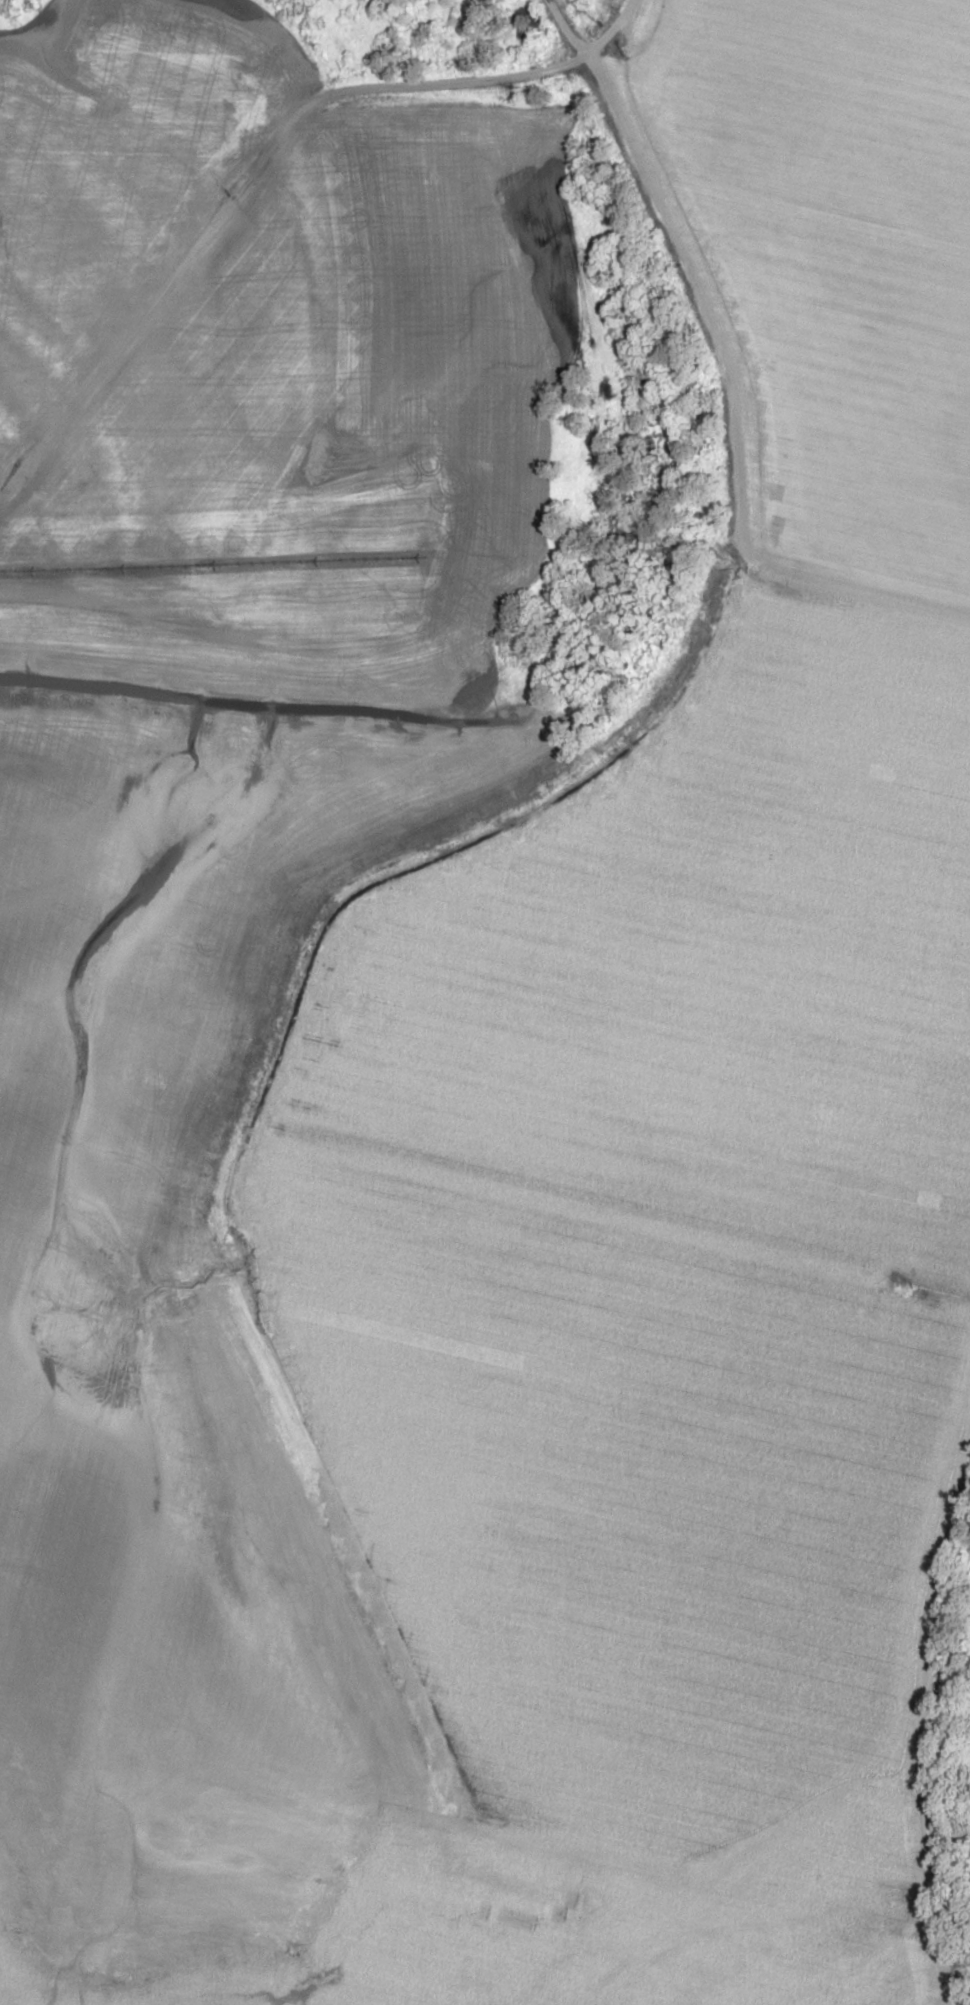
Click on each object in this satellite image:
road: (263, 157)
road: (728, 402)
road: (320, 1490)
road: (639, 1945)

